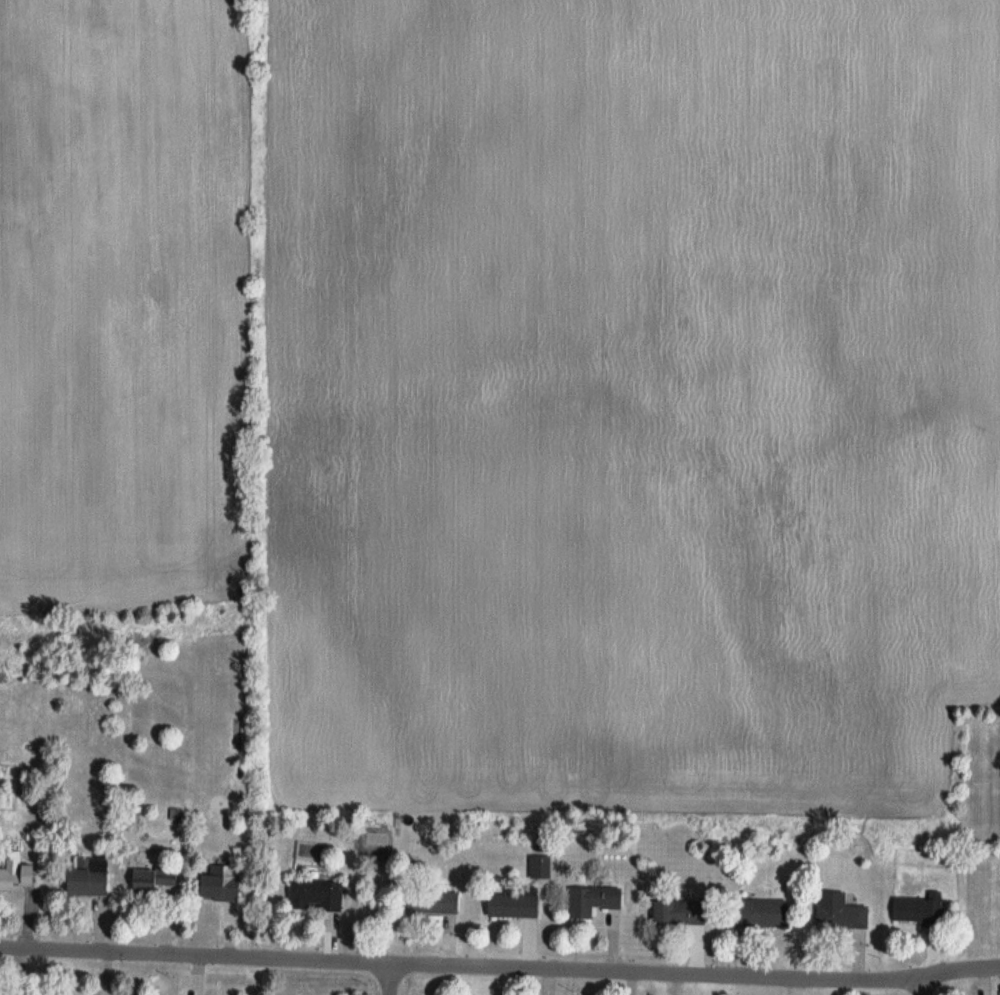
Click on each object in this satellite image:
crop: (501, 409)
building: (541, 867)
building: (17, 874)
building: (90, 878)
building: (223, 882)
building: (318, 895)
building: (595, 900)
building: (435, 902)
building: (516, 904)
building: (920, 909)
building: (681, 911)
building: (766, 912)
building: (842, 912)
road: (502, 966)
road: (388, 979)
road: (914, 990)

